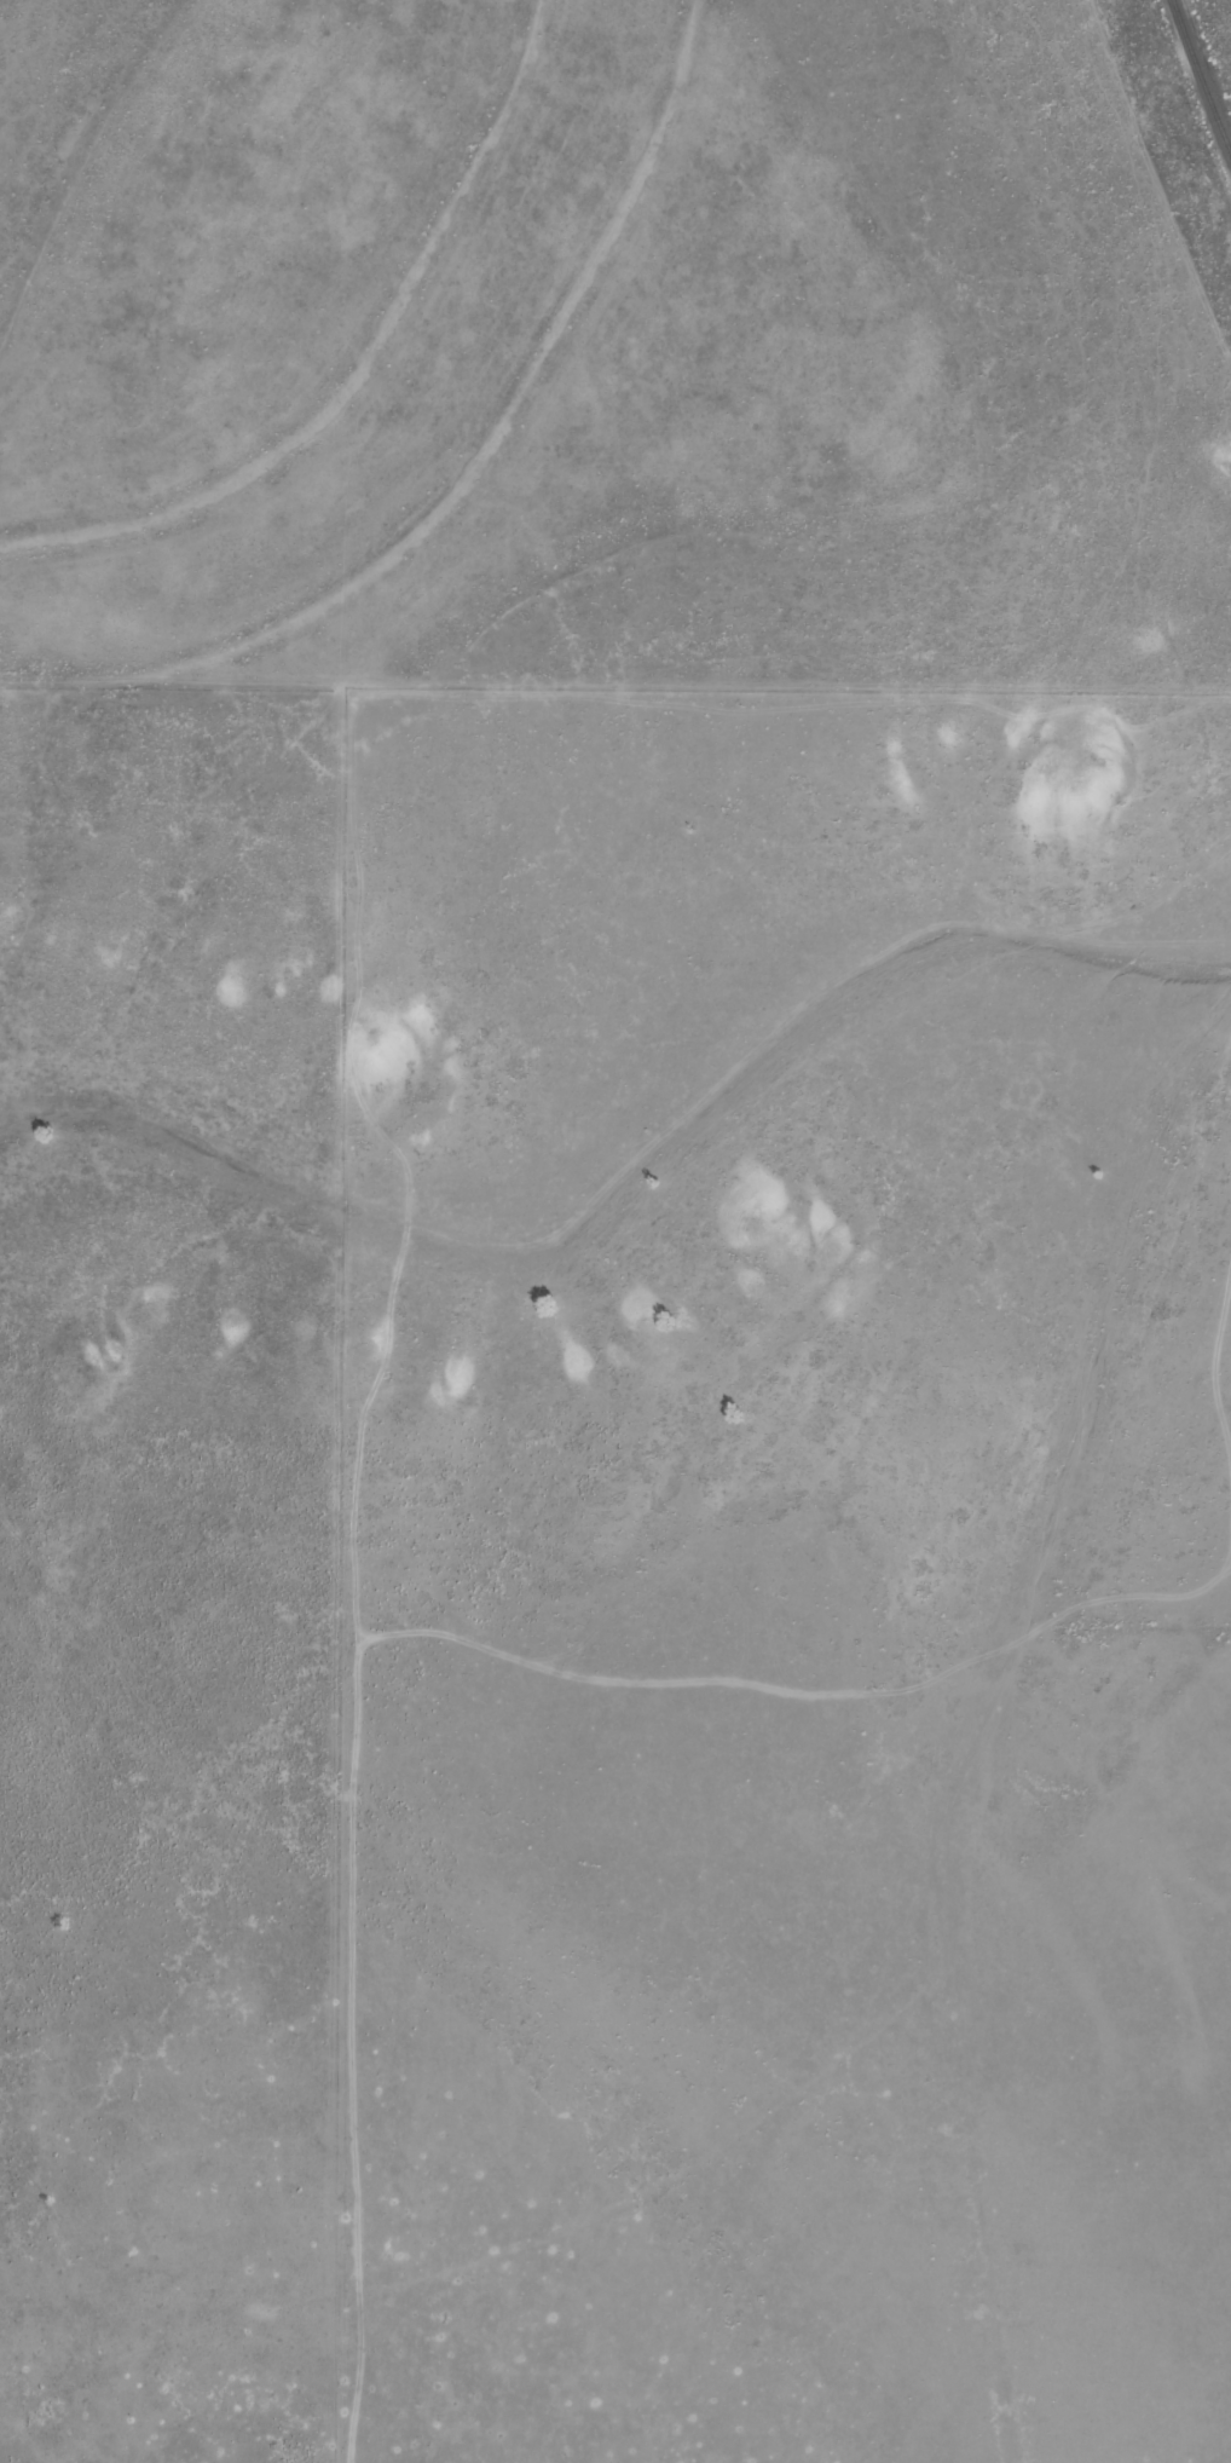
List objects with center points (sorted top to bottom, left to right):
railway: (1198, 79)

